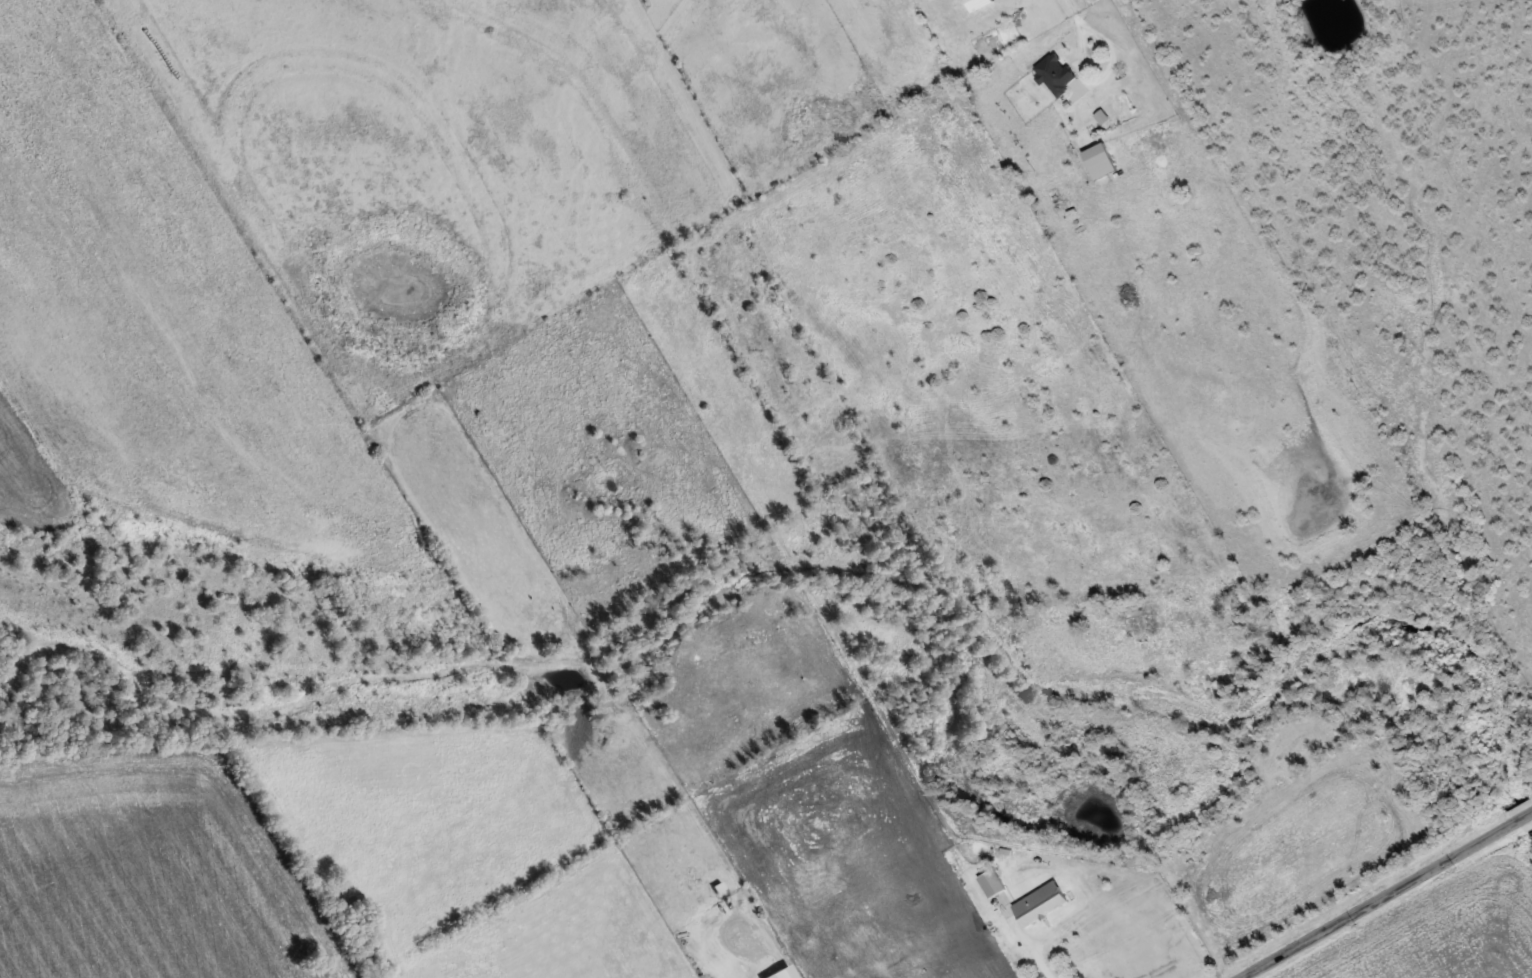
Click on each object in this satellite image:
building: (978, 3)
building: (1100, 94)
building: (992, 881)
road: (1388, 897)
building: (1040, 902)

